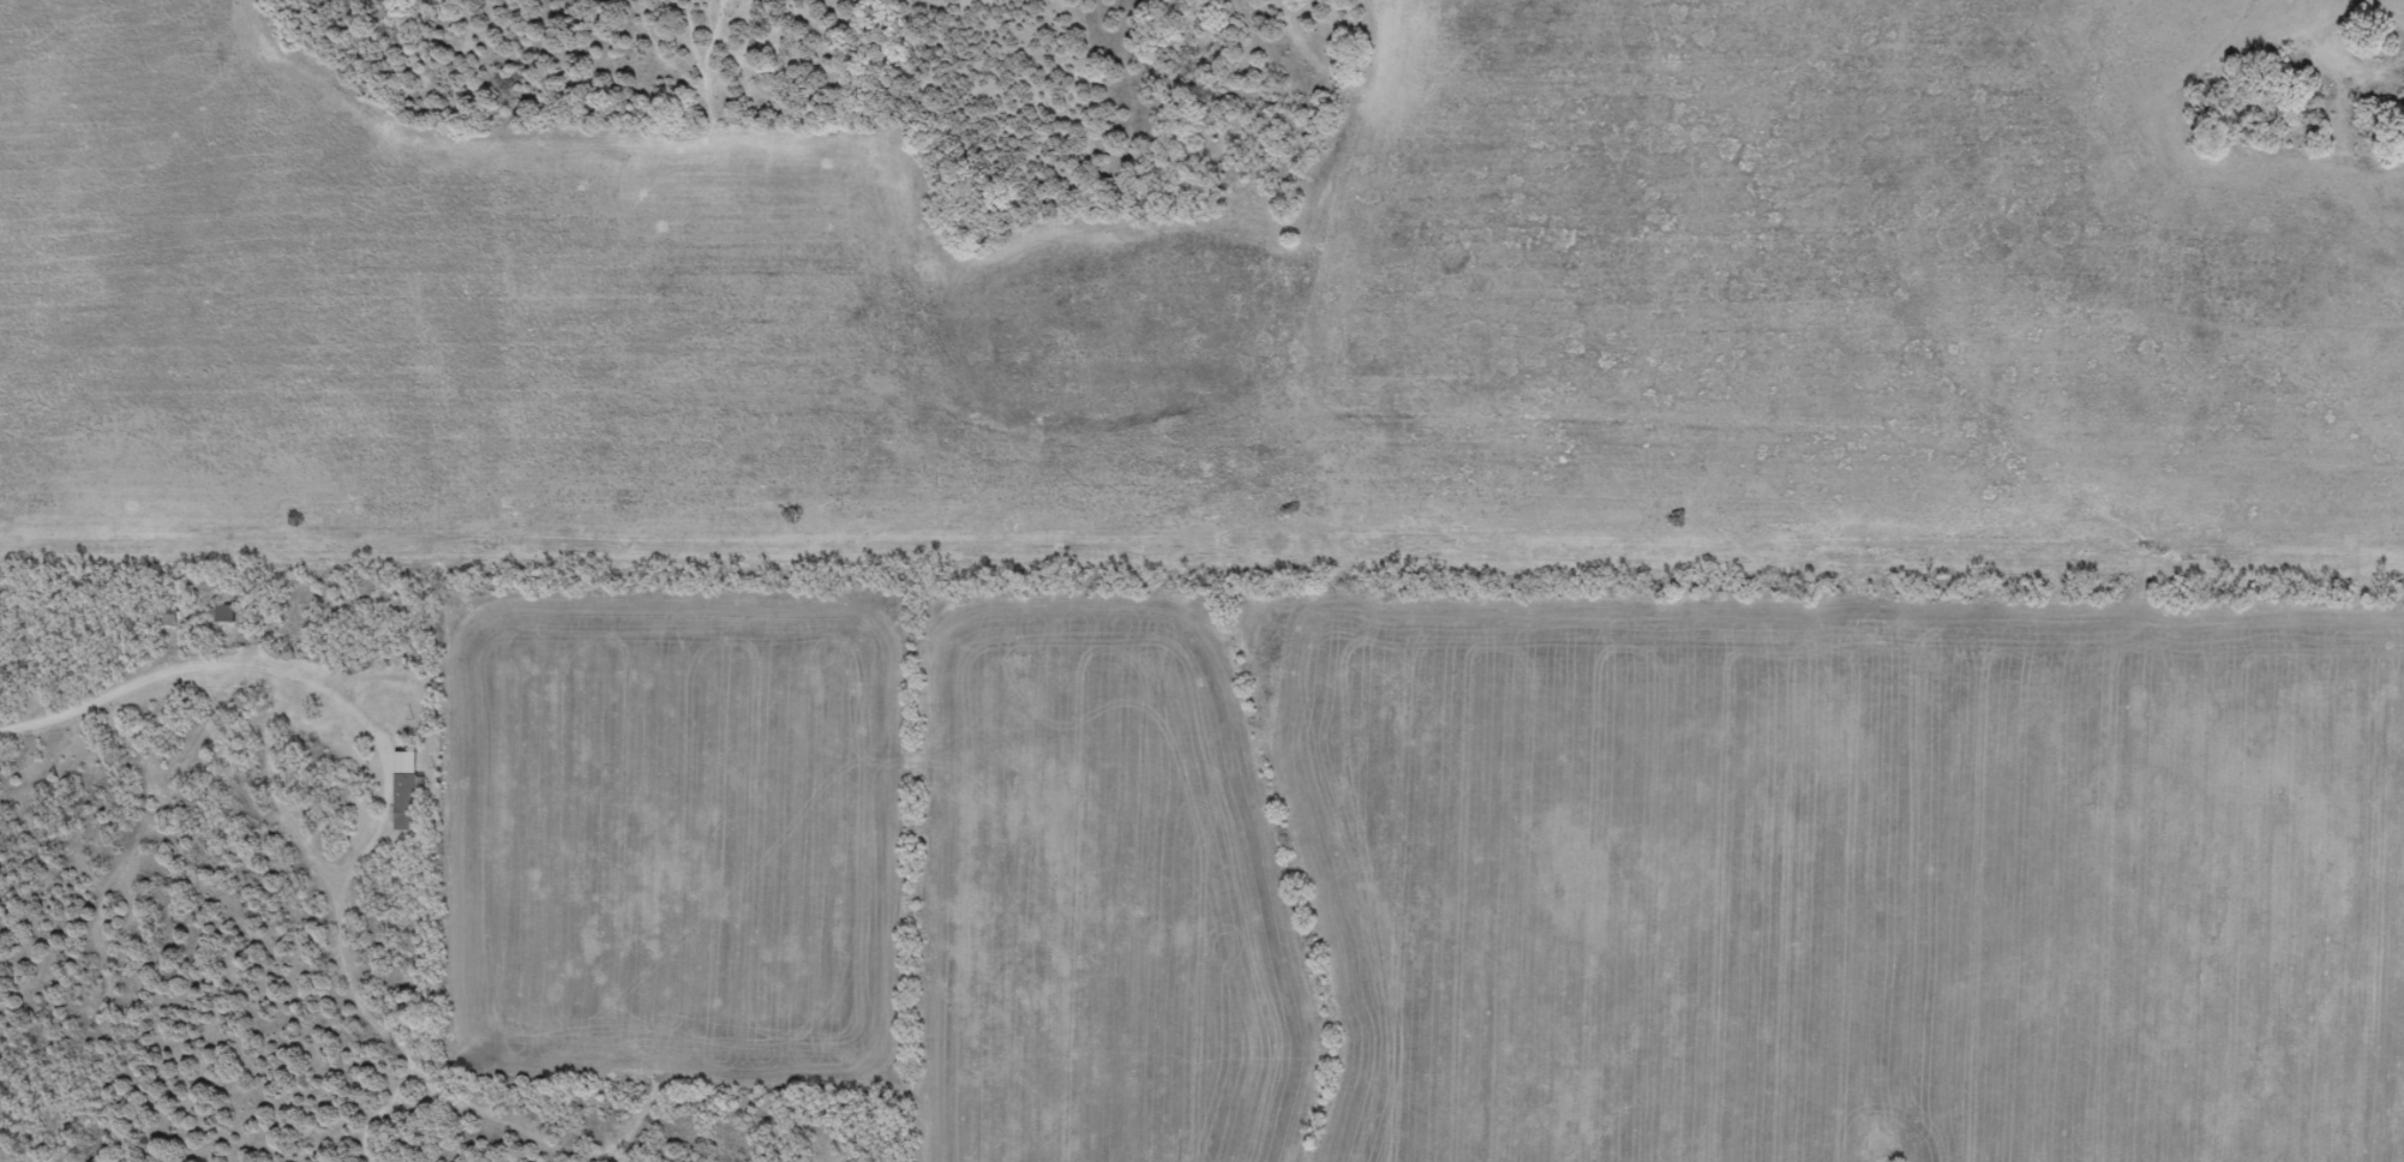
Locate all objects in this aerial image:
building: (166, 612)
building: (223, 613)
road: (121, 678)
building: (403, 791)

